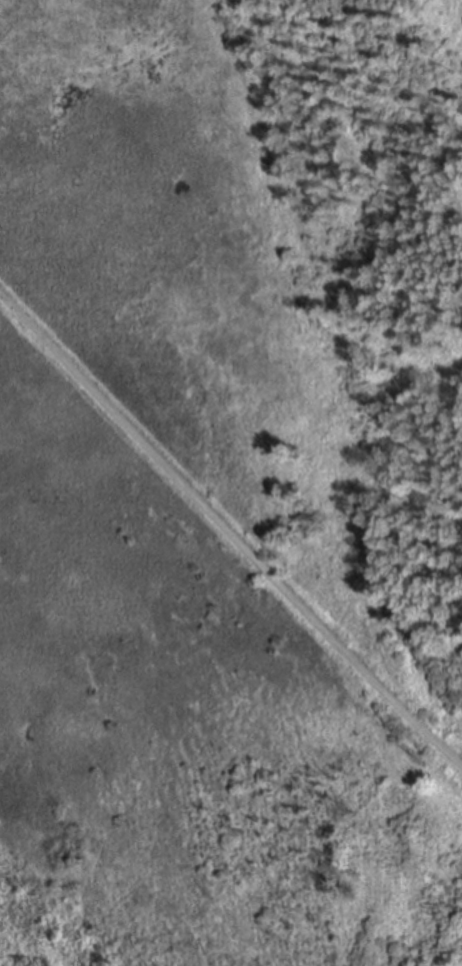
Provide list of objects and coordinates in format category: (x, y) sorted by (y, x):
road: (229, 533)

